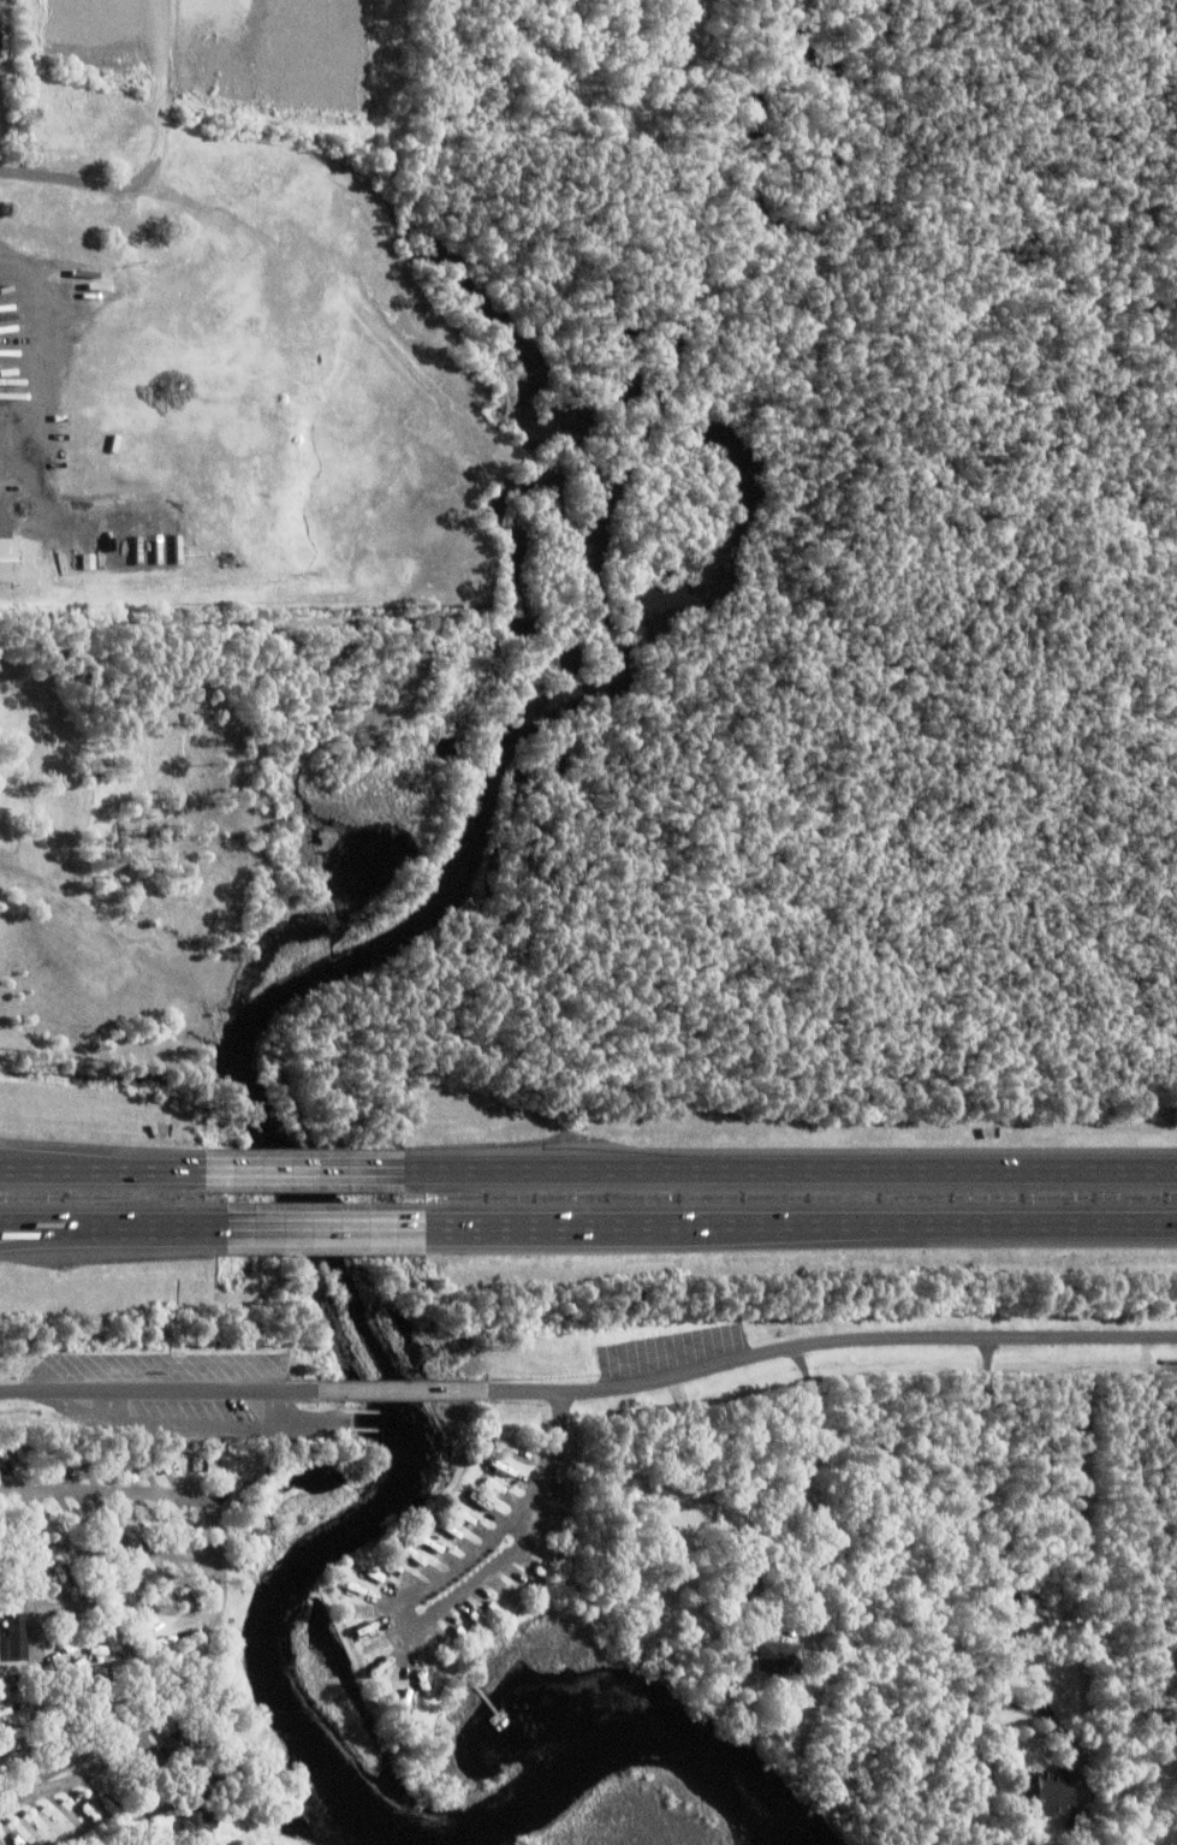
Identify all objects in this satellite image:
building: (149, 254)
building: (2, 559)
road: (61, 1157)
road: (97, 1164)
road: (296, 1164)
road: (786, 1165)
road: (109, 1228)
road: (798, 1229)
road: (321, 1230)
road: (65, 1236)
road: (590, 1389)
building: (218, 1464)
building: (565, 1488)
road: (133, 1550)
road: (218, 1558)
road: (444, 1576)
road: (36, 1625)
building: (142, 1627)
building: (14, 1632)
building: (773, 1653)
building: (725, 1660)
building: (230, 1696)
building: (174, 1749)
building: (206, 1773)
road: (48, 1785)
building: (1044, 1788)
building: (1072, 1816)
building: (197, 1822)

